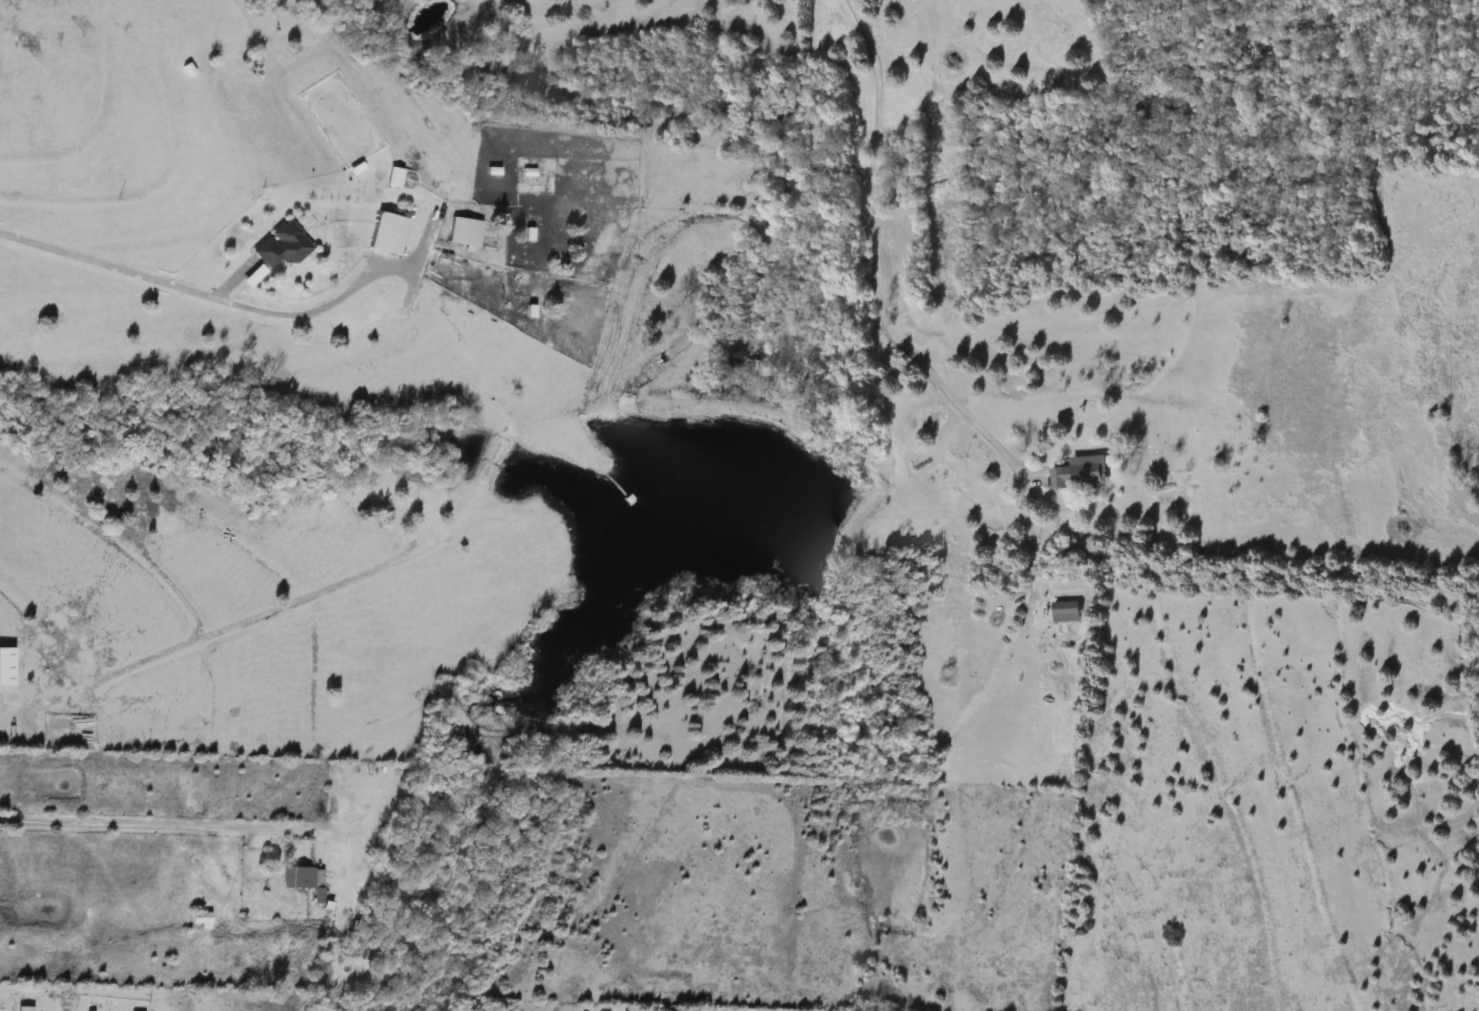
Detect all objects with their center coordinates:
building: (391, 177)
building: (462, 231)
building: (385, 233)
building: (278, 246)
road: (211, 305)
road: (869, 329)
building: (1078, 472)
building: (32, 677)
road: (173, 824)
building: (302, 880)
building: (197, 920)

